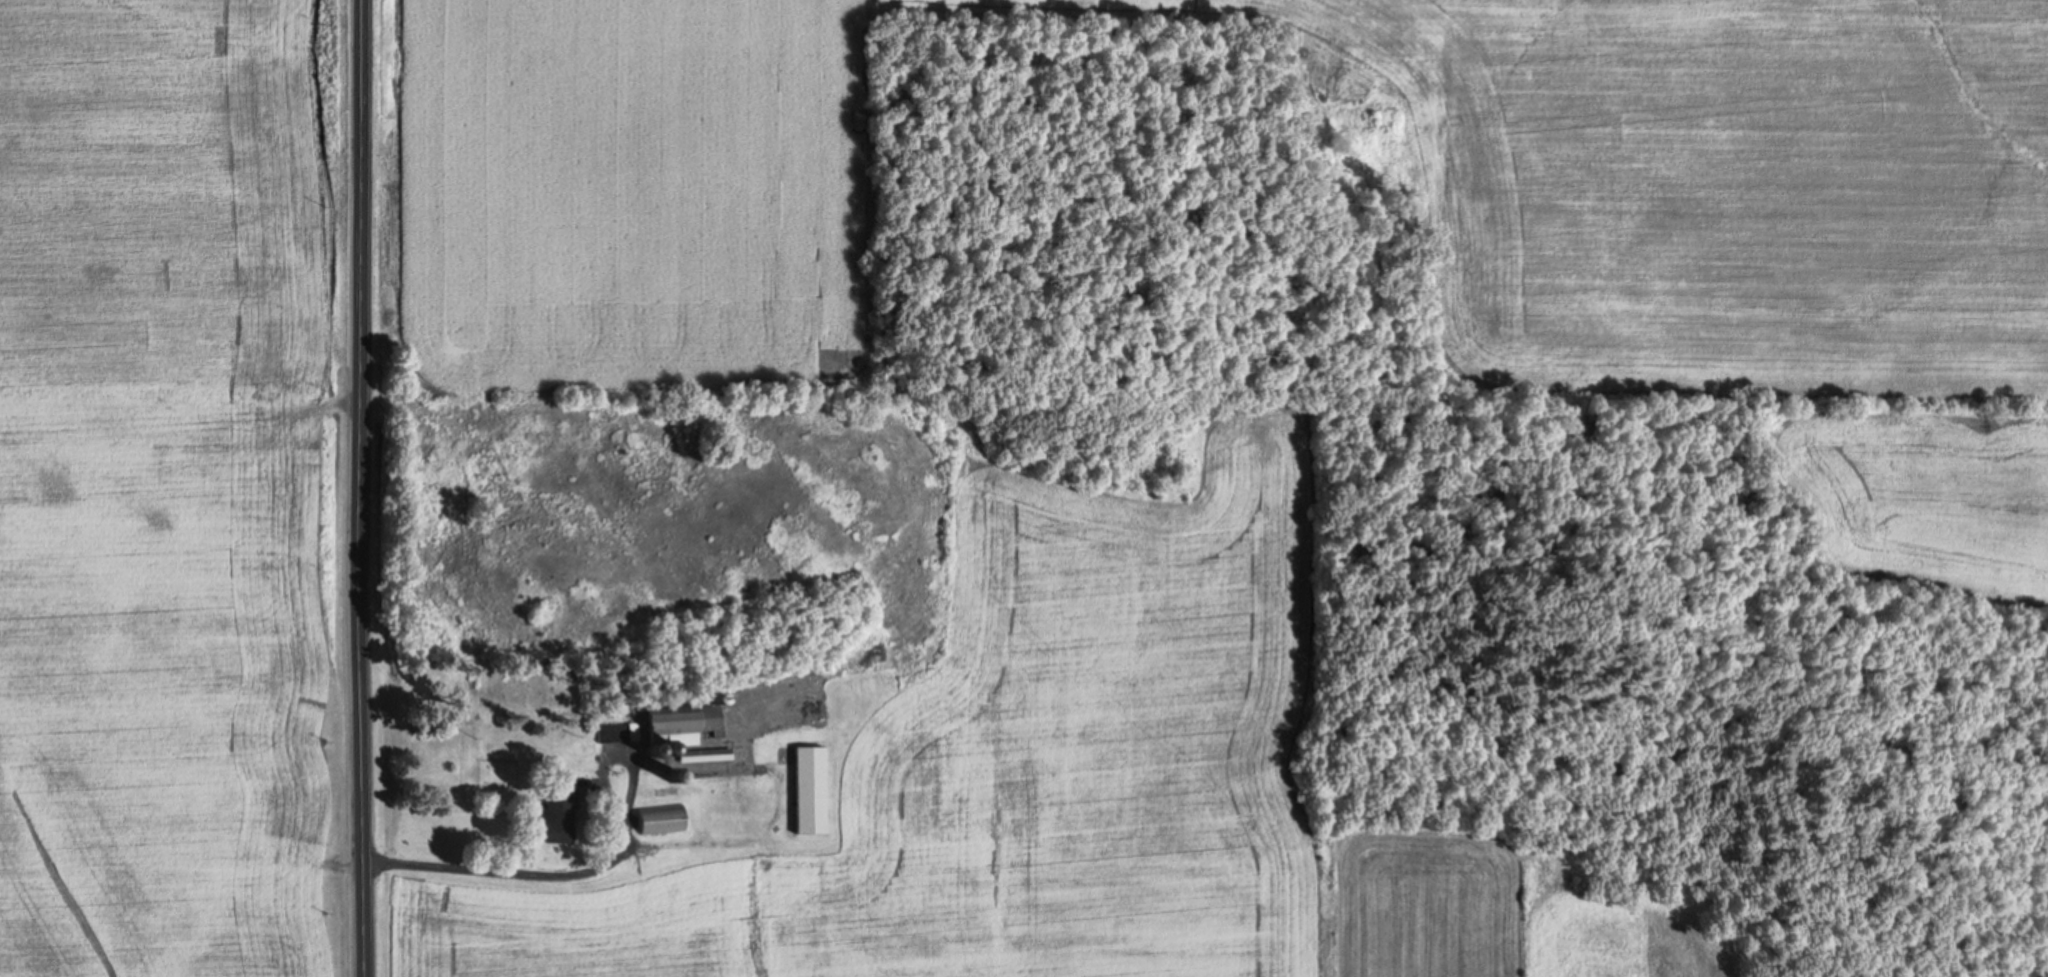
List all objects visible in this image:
road: (361, 488)
building: (683, 724)
building: (614, 732)
building: (705, 754)
building: (491, 772)
building: (809, 788)
building: (557, 810)
road: (584, 867)

